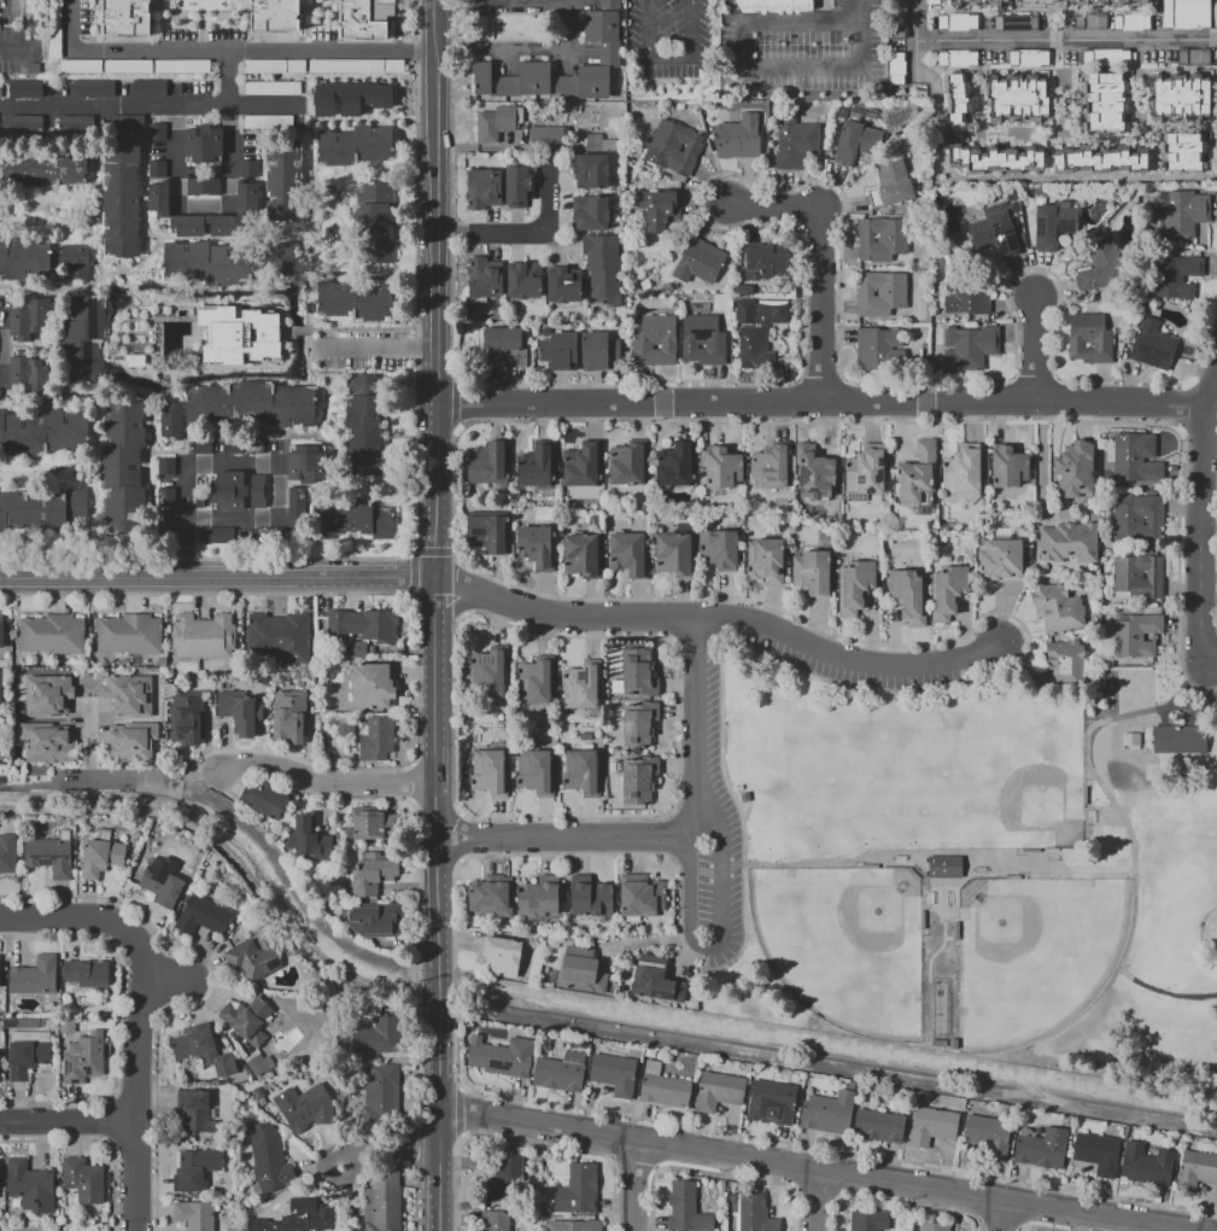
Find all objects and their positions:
building: (932, 1)
building: (976, 2)
building: (776, 4)
building: (1099, 4)
building: (364, 8)
road: (856, 11)
building: (1186, 12)
building: (274, 16)
building: (124, 17)
building: (897, 19)
building: (956, 22)
building: (1089, 22)
building: (1131, 22)
building: (1014, 23)
road: (571, 28)
building: (53, 29)
road: (34, 42)
road: (1069, 42)
road: (920, 47)
building: (609, 49)
road: (230, 52)
road: (672, 56)
building: (1193, 57)
road: (730, 58)
building: (958, 58)
building: (1028, 58)
building: (1107, 58)
building: (80, 65)
building: (127, 65)
building: (180, 65)
building: (273, 65)
building: (353, 65)
building: (896, 68)
road: (228, 78)
building: (270, 86)
building: (93, 87)
building: (148, 87)
building: (25, 88)
building: (1178, 97)
building: (350, 98)
building: (1017, 98)
building: (955, 103)
building: (1105, 103)
road: (113, 105)
building: (733, 105)
road: (264, 106)
building: (754, 106)
building: (897, 116)
building: (127, 122)
building: (495, 123)
building: (76, 124)
building: (25, 126)
building: (156, 132)
building: (250, 133)
building: (548, 134)
building: (738, 138)
building: (859, 139)
building: (794, 140)
building: (203, 144)
building: (355, 145)
building: (608, 145)
building: (673, 147)
building: (1182, 152)
building: (994, 159)
building: (1098, 159)
building: (45, 168)
building: (156, 168)
building: (248, 168)
building: (591, 170)
building: (282, 175)
road: (1035, 180)
building: (890, 183)
building: (517, 186)
building: (201, 187)
building: (482, 188)
building: (246, 196)
building: (158, 198)
building: (121, 200)
road: (201, 208)
building: (660, 210)
building: (591, 212)
building: (1180, 212)
building: (1053, 223)
building: (187, 224)
building: (376, 226)
building: (995, 228)
road: (527, 233)
building: (880, 238)
building: (24, 259)
building: (766, 259)
road: (823, 259)
building: (75, 261)
building: (698, 261)
building: (226, 262)
building: (1100, 264)
building: (603, 267)
building: (485, 276)
building: (1175, 276)
building: (523, 280)
building: (563, 284)
building: (742, 284)
building: (879, 292)
building: (969, 292)
building: (355, 301)
building: (28, 317)
building: (756, 329)
building: (236, 334)
building: (1089, 338)
building: (702, 339)
building: (84, 340)
building: (655, 340)
building: (505, 344)
building: (1153, 345)
building: (969, 346)
road: (0, 348)
road: (376, 348)
building: (878, 349)
building: (598, 350)
building: (560, 351)
road: (1036, 351)
building: (29, 373)
road: (1211, 390)
road: (821, 403)
building: (251, 406)
road: (455, 406)
building: (170, 420)
building: (364, 422)
building: (43, 432)
building: (232, 444)
building: (253, 444)
building: (203, 445)
road: (1041, 460)
building: (1134, 460)
road: (245, 462)
building: (486, 462)
building: (306, 463)
building: (628, 463)
building: (534, 465)
building: (581, 465)
building: (675, 465)
building: (168, 466)
building: (721, 466)
building: (770, 466)
building: (1008, 466)
building: (1075, 468)
building: (123, 469)
building: (964, 469)
building: (865, 471)
building: (812, 473)
building: (918, 474)
building: (238, 491)
building: (168, 496)
building: (296, 502)
building: (41, 511)
building: (1136, 518)
building: (352, 519)
building: (166, 526)
building: (487, 532)
building: (216, 535)
road: (1203, 536)
building: (1069, 542)
building: (536, 546)
building: (719, 547)
road: (434, 552)
building: (628, 552)
building: (675, 554)
building: (583, 555)
building: (1001, 558)
building: (766, 560)
building: (811, 571)
road: (413, 574)
building: (1137, 577)
road: (216, 579)
building: (854, 587)
building: (949, 590)
building: (908, 595)
road: (456, 606)
building: (1057, 607)
road: (433, 614)
road: (720, 615)
building: (365, 624)
building: (0, 631)
building: (52, 634)
building: (129, 634)
building: (1136, 635)
building: (203, 636)
building: (279, 637)
building: (352, 647)
building: (370, 649)
road: (1212, 663)
building: (1063, 666)
building: (488, 670)
building: (638, 672)
building: (536, 679)
building: (371, 684)
building: (581, 684)
building: (0, 695)
building: (47, 695)
building: (128, 695)
road: (1193, 706)
road: (696, 711)
building: (240, 712)
building: (186, 717)
building: (288, 717)
road: (1193, 717)
road: (1163, 718)
building: (639, 723)
building: (341, 724)
road: (1129, 724)
road: (1145, 736)
building: (376, 737)
road: (89, 739)
road: (1121, 741)
building: (1134, 741)
building: (1183, 741)
building: (47, 742)
building: (129, 742)
building: (0, 743)
park: (839, 762)
building: (490, 771)
building: (536, 772)
building: (581, 772)
park: (1001, 772)
road: (113, 776)
building: (639, 780)
road: (415, 782)
road: (323, 783)
road: (5, 788)
parking lot: (716, 797)
building: (744, 797)
building: (265, 798)
road: (1118, 813)
road: (454, 821)
building: (374, 823)
road: (458, 823)
road: (458, 836)
road: (583, 838)
building: (308, 839)
road: (458, 850)
road: (455, 851)
building: (7, 853)
building: (100, 854)
road: (929, 854)
building: (49, 856)
building: (948, 868)
park: (982, 871)
building: (371, 874)
road: (955, 881)
building: (160, 883)
road: (932, 883)
building: (640, 894)
building: (491, 895)
building: (538, 895)
building: (590, 895)
road: (299, 899)
road: (955, 900)
road: (942, 912)
building: (203, 915)
building: (375, 918)
park: (844, 945)
road: (709, 953)
building: (502, 956)
park: (1035, 956)
building: (253, 958)
building: (580, 970)
building: (87, 972)
building: (35, 976)
road: (160, 979)
building: (656, 980)
building: (0, 981)
road: (136, 1008)
building: (246, 1019)
road: (1145, 1028)
building: (65, 1029)
building: (378, 1035)
building: (203, 1049)
building: (27, 1051)
building: (502, 1056)
building: (84, 1057)
building: (259, 1063)
building: (560, 1072)
building: (614, 1074)
building: (662, 1086)
building: (718, 1091)
building: (380, 1099)
building: (771, 1102)
building: (304, 1107)
road: (458, 1112)
building: (195, 1113)
building: (827, 1113)
road: (68, 1122)
building: (932, 1125)
building: (879, 1126)
building: (988, 1134)
building: (1042, 1148)
road: (386, 1149)
building: (1096, 1153)
building: (269, 1157)
building: (1147, 1165)
building: (195, 1167)
road: (803, 1169)
building: (1196, 1171)
building: (0, 1177)
building: (505, 1178)
building: (82, 1179)
building: (30, 1185)
road: (633, 1186)
building: (578, 1189)
building: (382, 1201)
road: (815, 1201)
building: (686, 1208)
building: (754, 1213)
building: (194, 1214)
building: (302, 1217)
road: (999, 1217)
building: (495, 1220)
building: (868, 1220)
building: (581, 1225)
building: (935, 1226)

